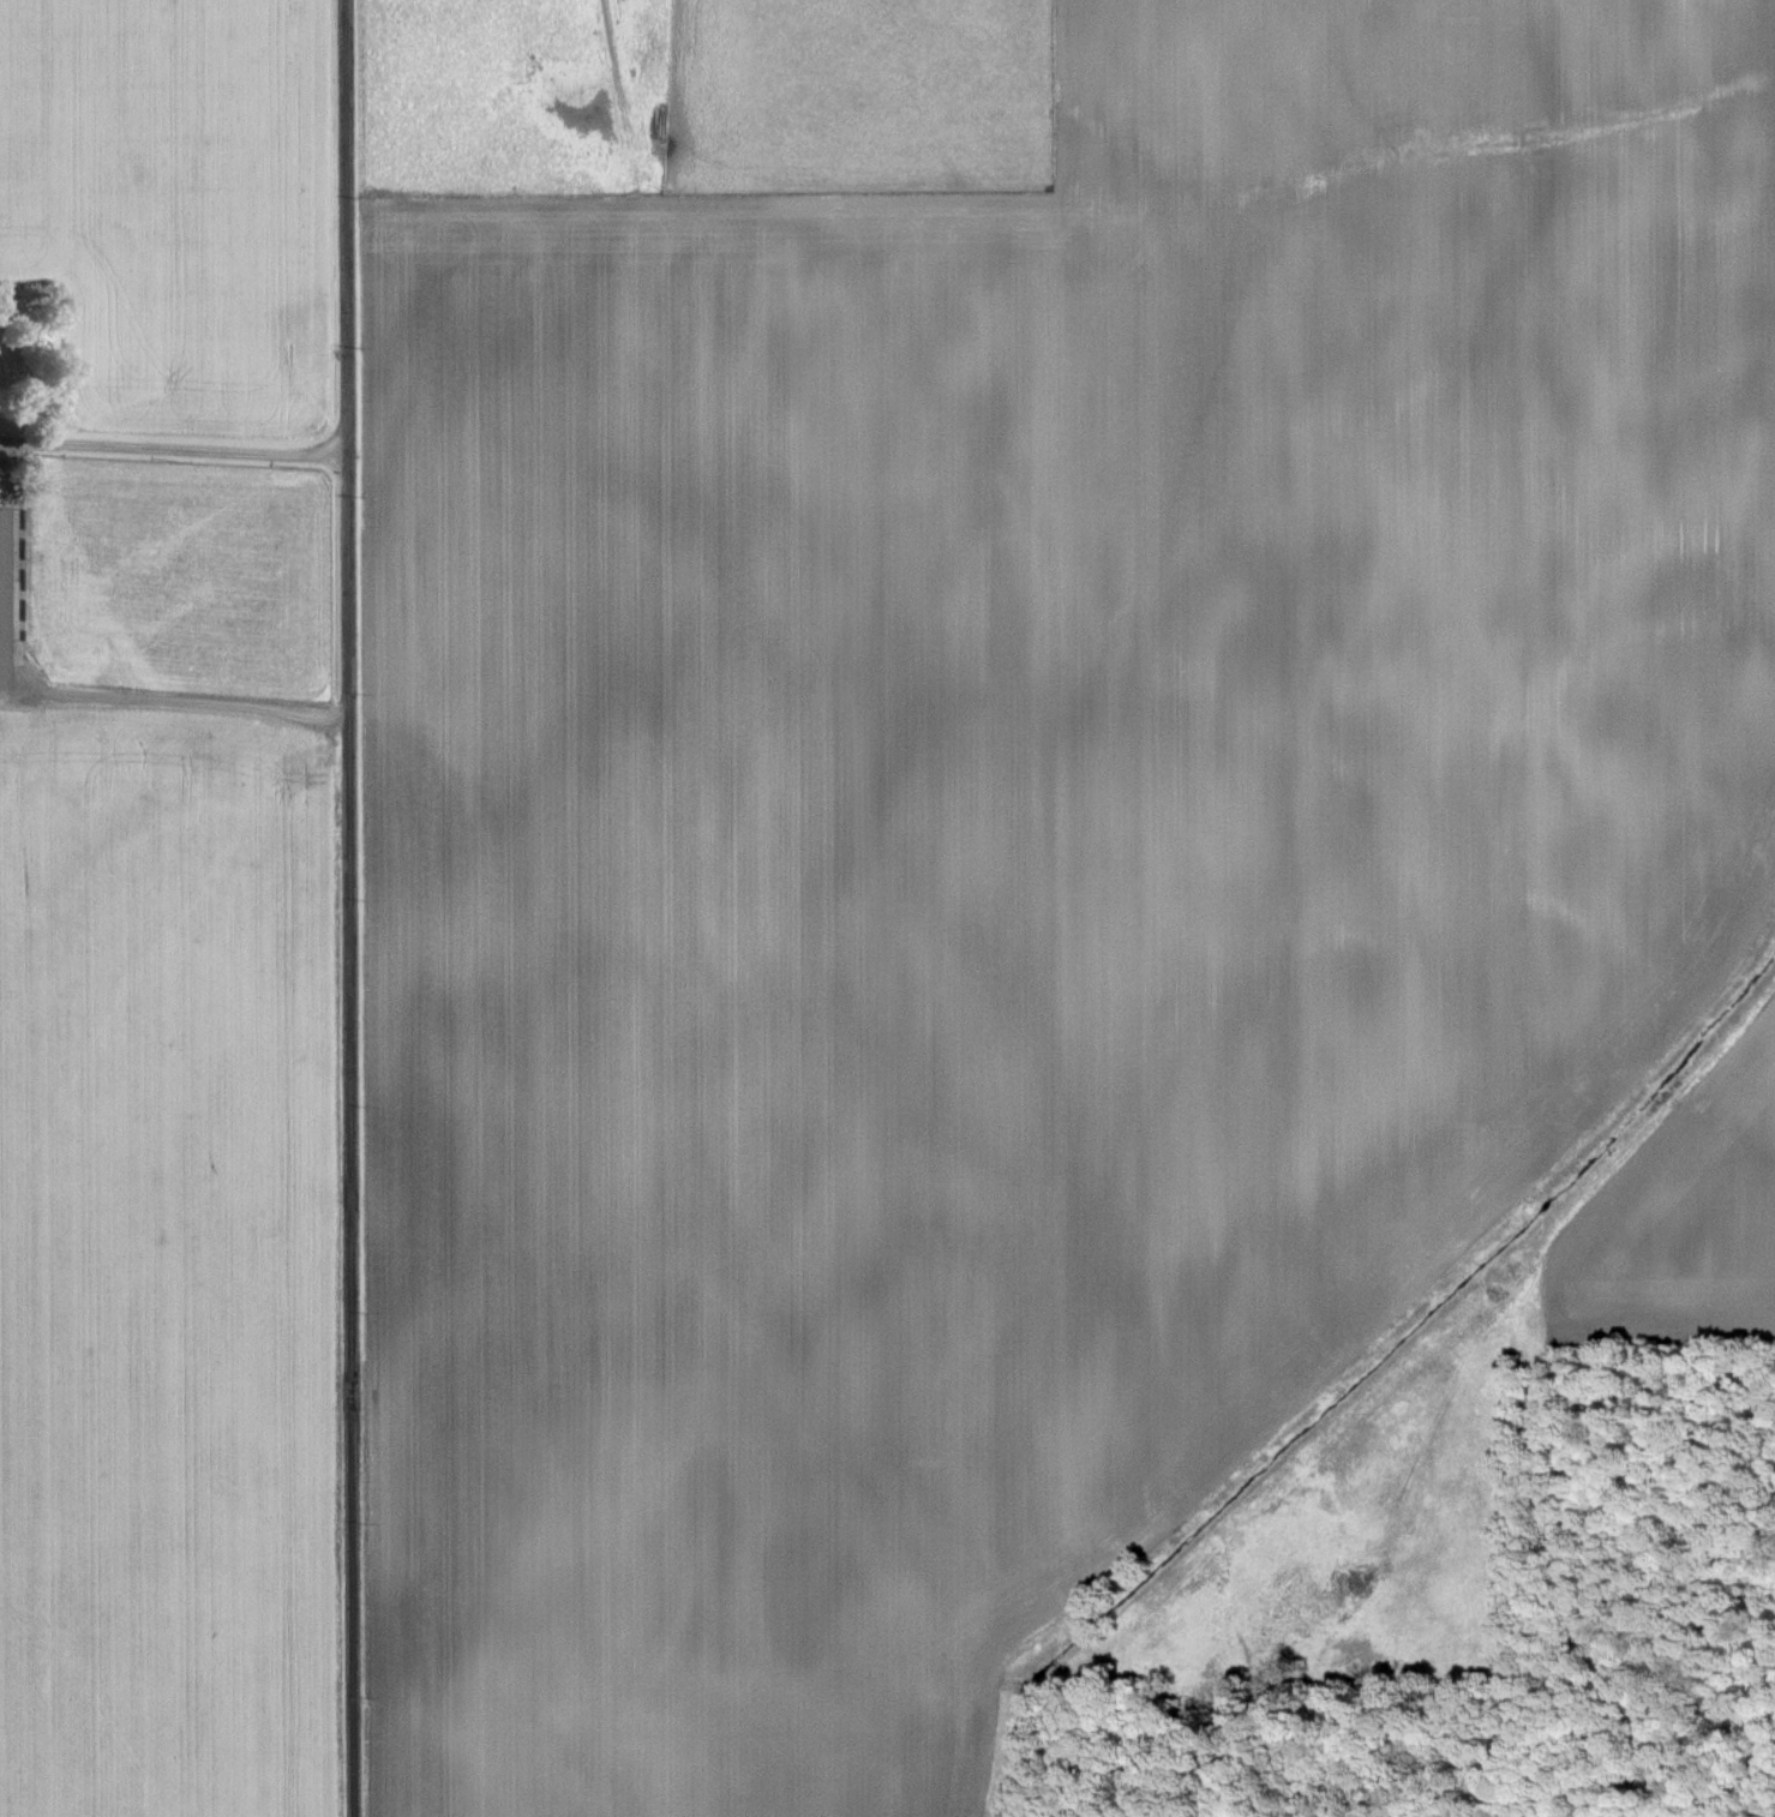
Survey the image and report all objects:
road: (169, 449)
road: (181, 701)
road: (342, 907)

